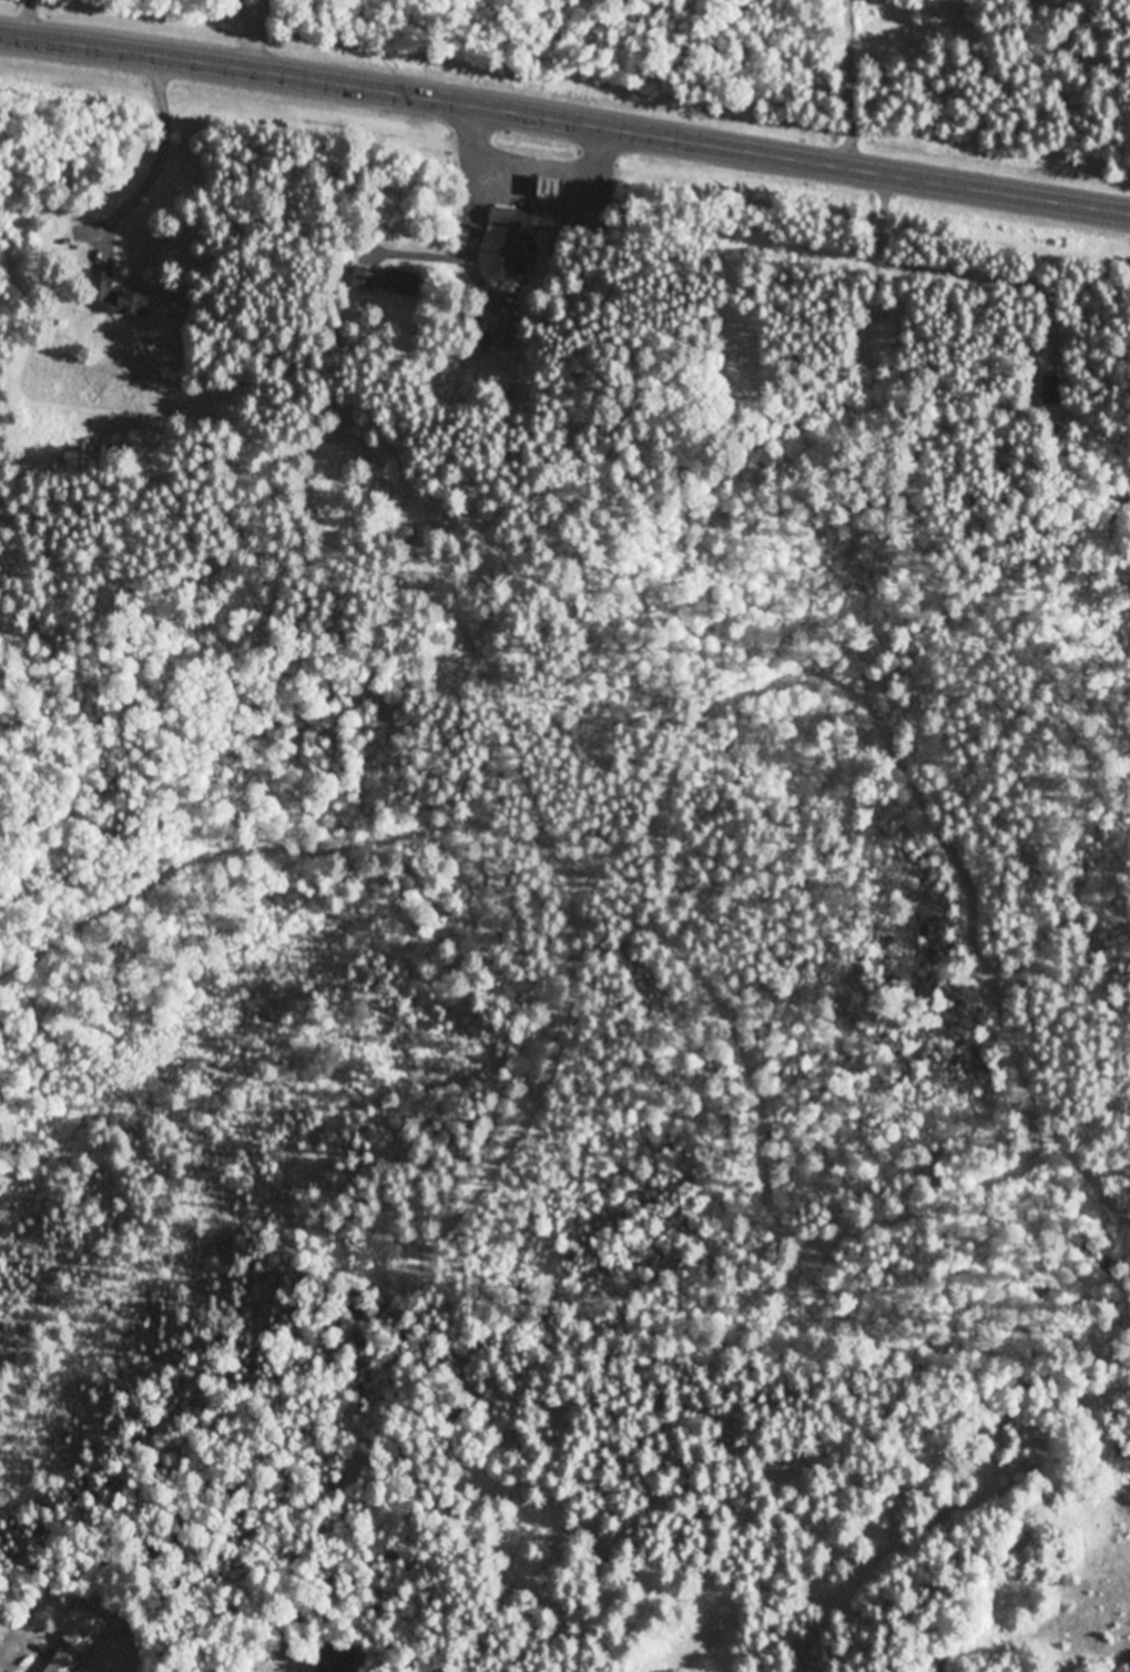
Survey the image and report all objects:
road: (877, 39)
road: (848, 84)
road: (194, 96)
road: (564, 122)
road: (530, 160)
road: (160, 163)
road: (480, 166)
building: (558, 188)
gas station: (558, 188)
building: (523, 214)
building: (520, 247)
road: (459, 252)
building: (400, 281)
building: (103, 286)
road: (489, 296)
building: (133, 304)
building: (73, 1639)

